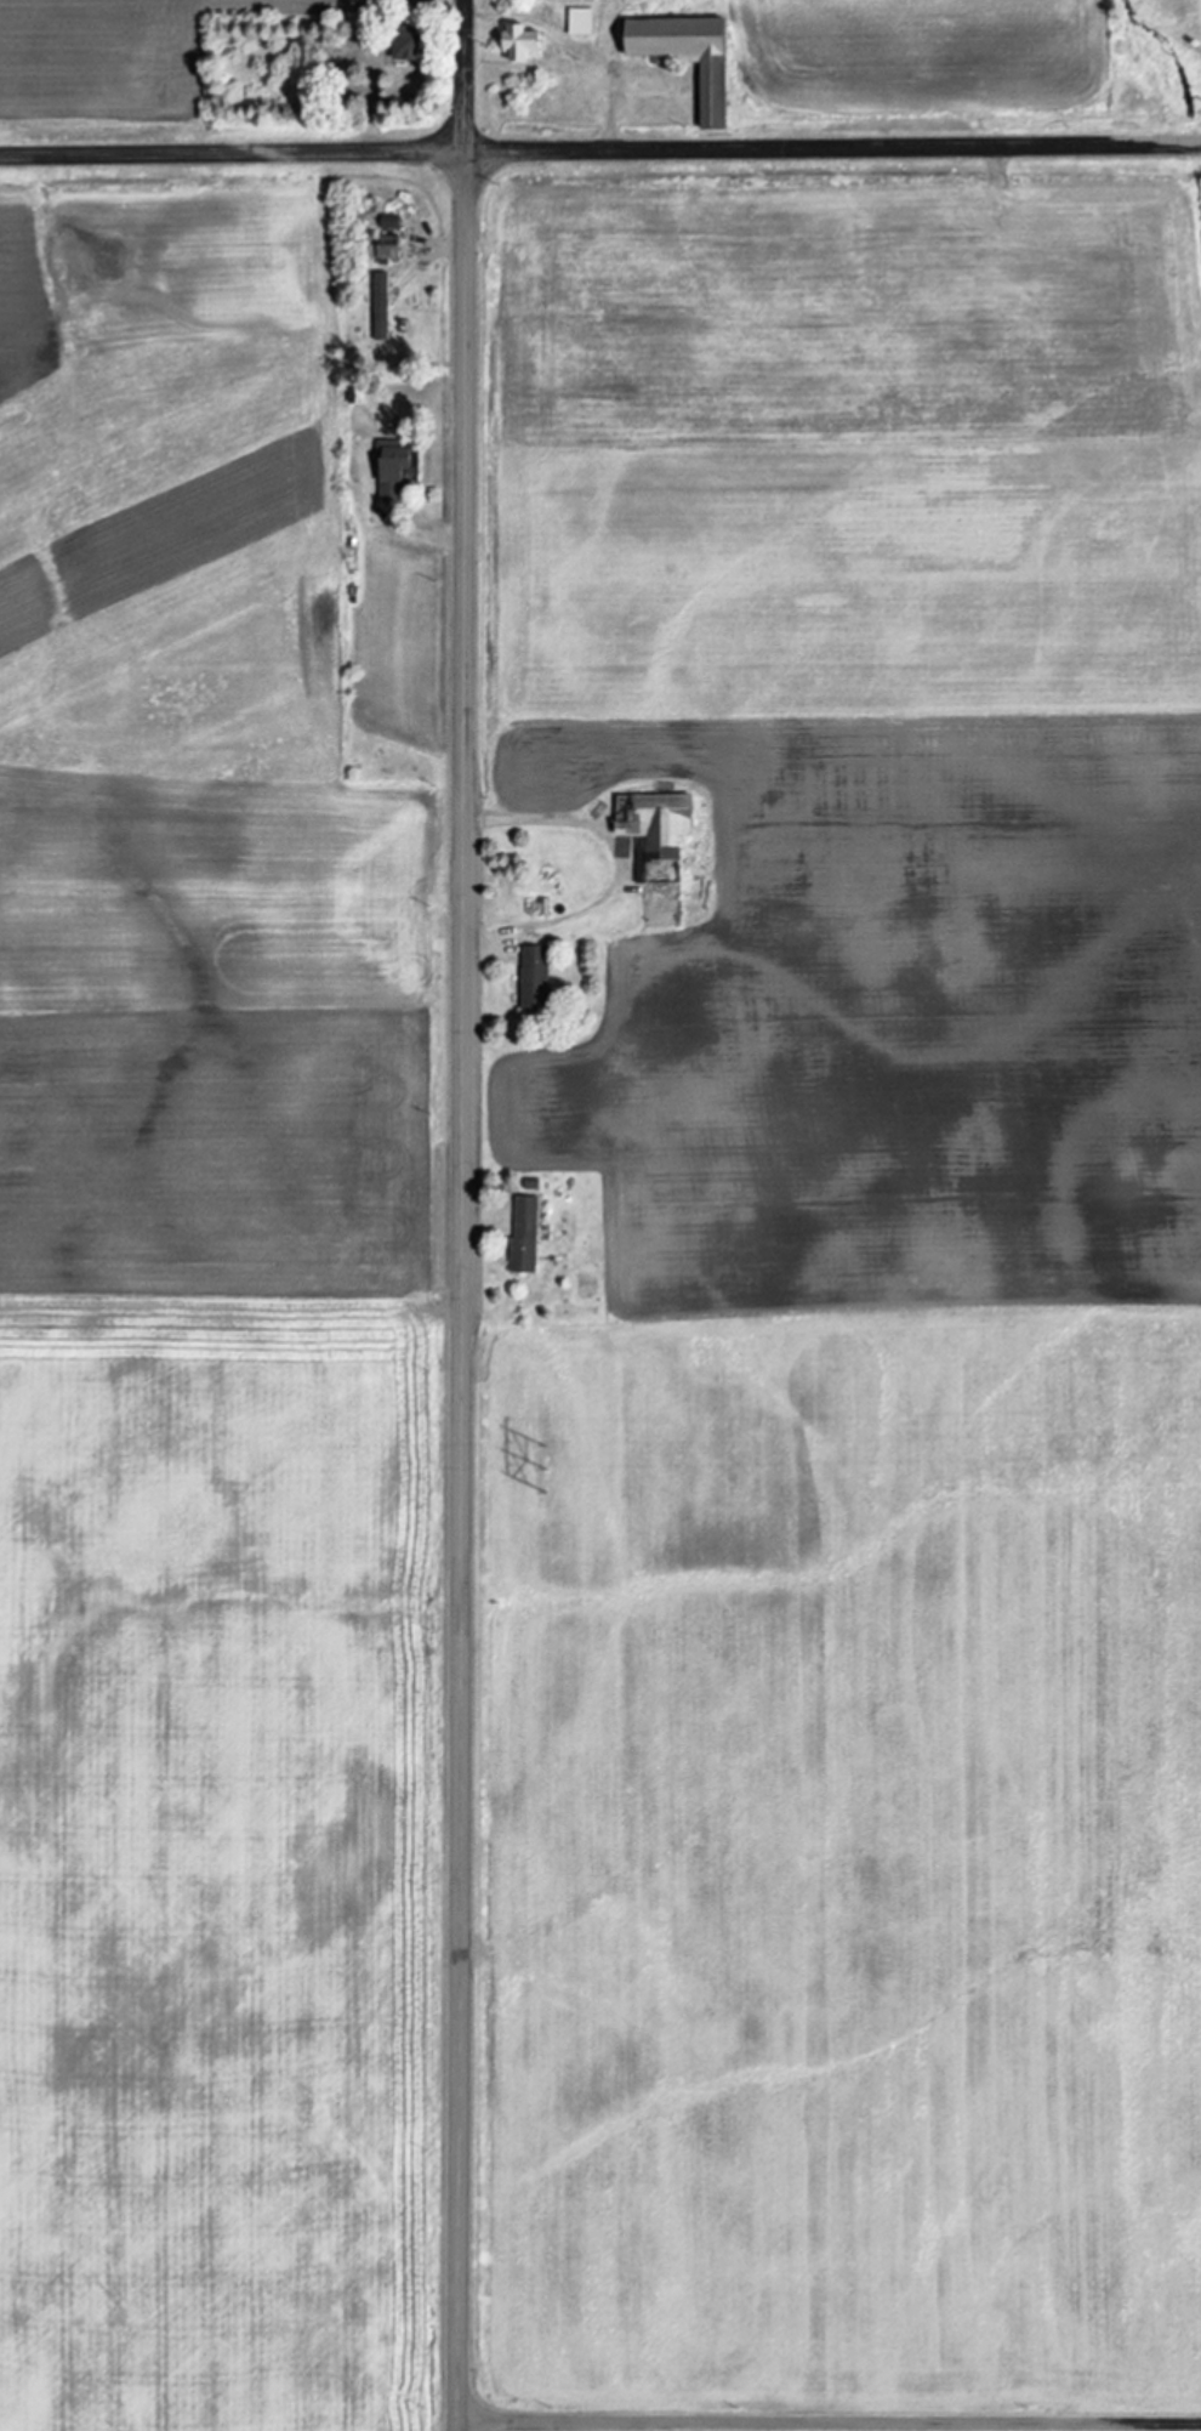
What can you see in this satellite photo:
building: (577, 21)
building: (400, 41)
building: (518, 41)
building: (683, 55)
road: (600, 150)
building: (388, 222)
building: (378, 306)
building: (389, 470)
road: (621, 869)
building: (531, 977)
road: (463, 1215)
building: (522, 1234)
power tower: (553, 1465)
road: (830, 2421)

